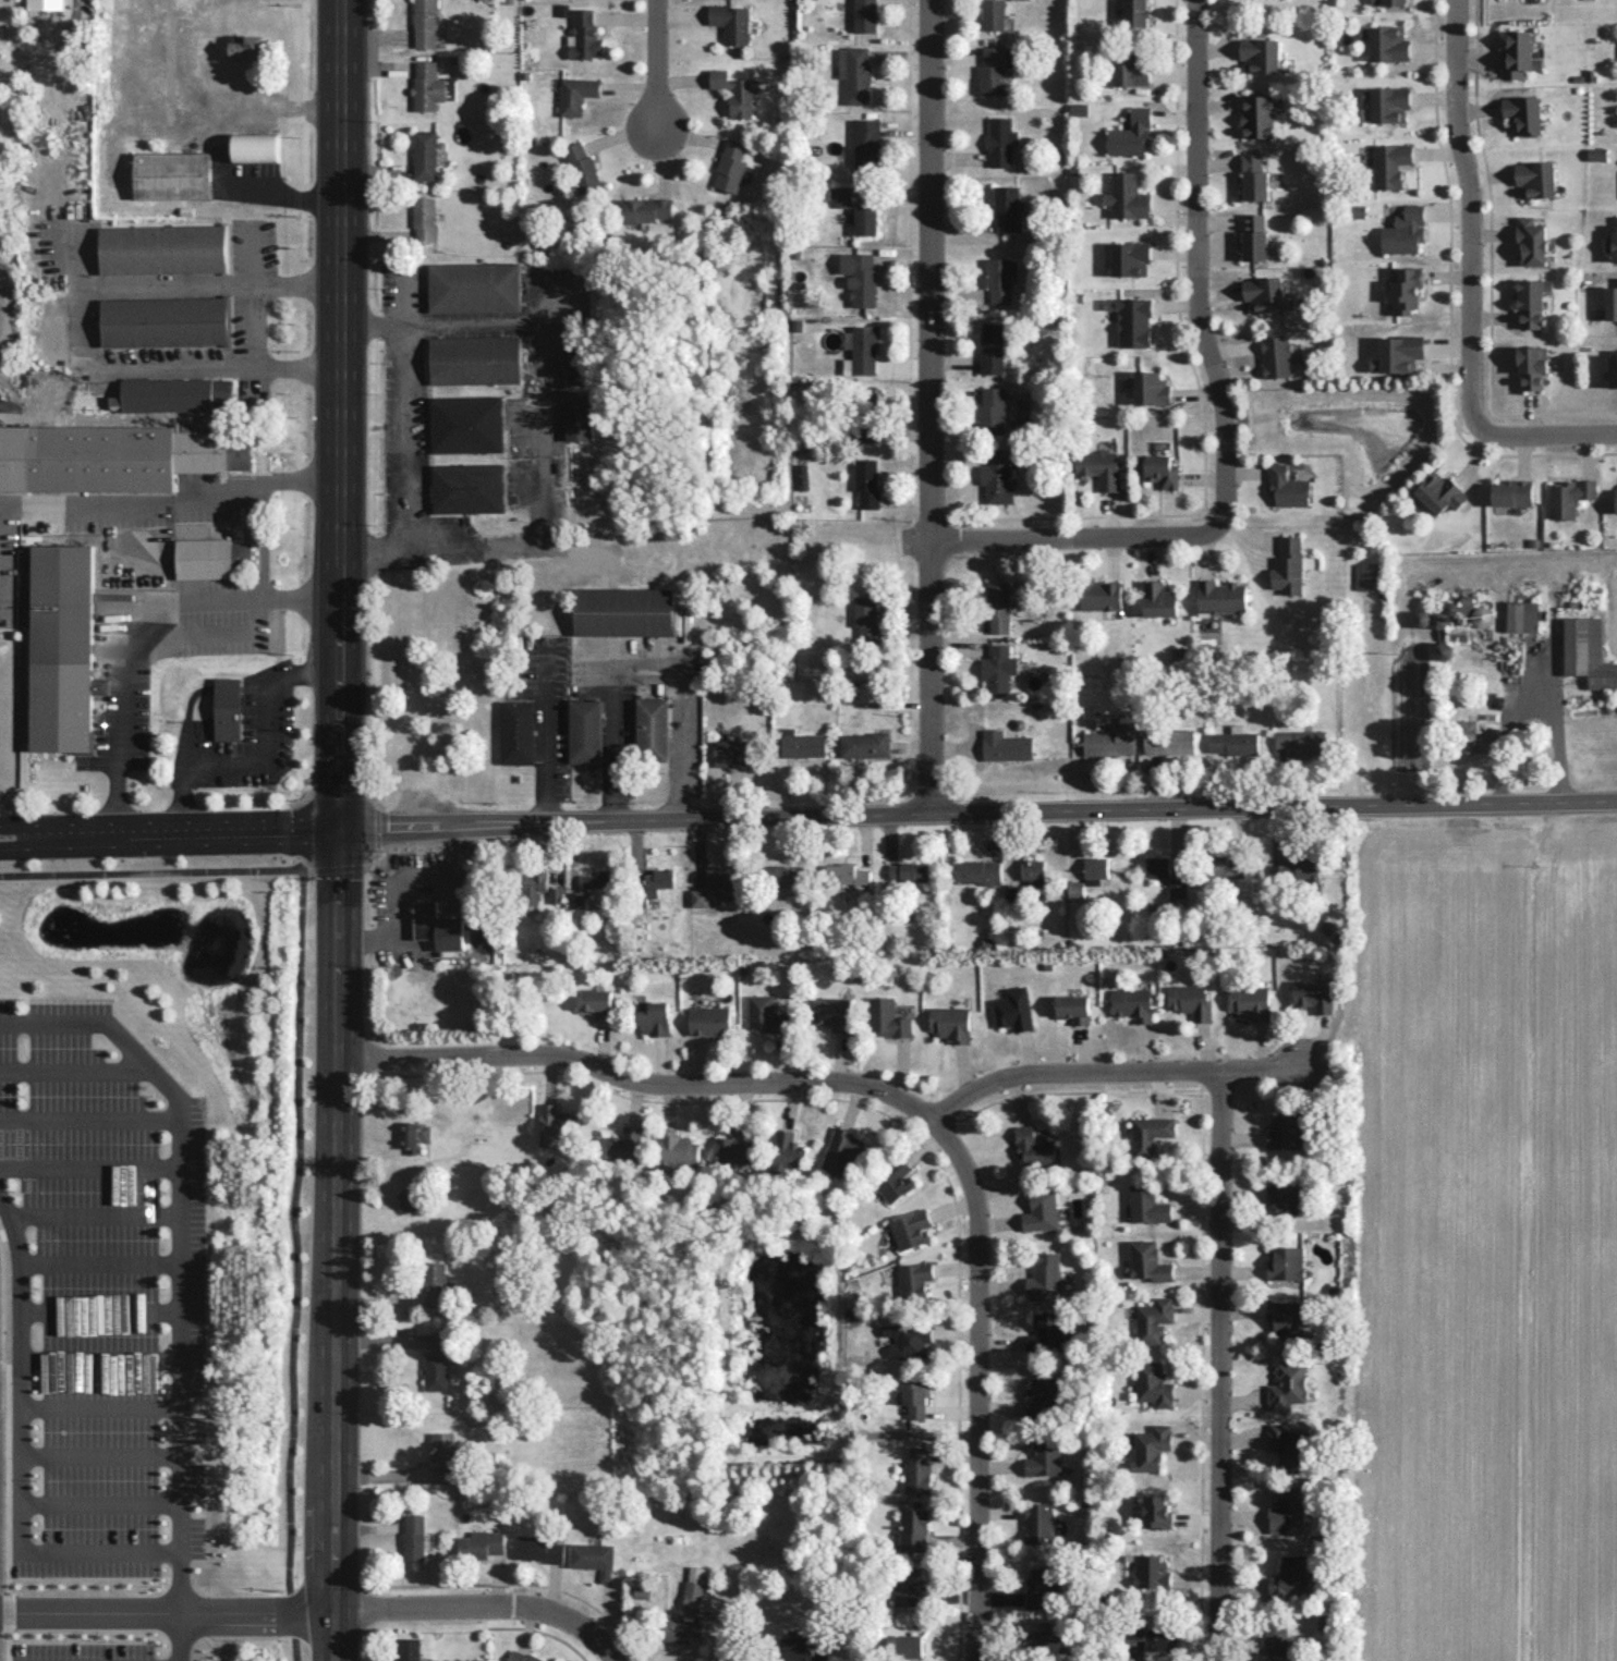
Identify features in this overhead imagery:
building: (1388, 2)
building: (45, 4)
building: (1134, 13)
building: (993, 14)
building: (864, 15)
building: (731, 22)
building: (425, 23)
building: (584, 36)
building: (1388, 44)
building: (248, 48)
road: (1216, 49)
building: (1259, 54)
building: (1516, 54)
road: (955, 58)
building: (1130, 65)
road: (656, 66)
building: (992, 69)
building: (858, 75)
road: (1171, 76)
building: (426, 86)
building: (734, 91)
building: (575, 94)
road: (1218, 103)
building: (1388, 103)
building: (1078, 109)
building: (1523, 113)
road: (1171, 117)
building: (1256, 117)
building: (1130, 133)
building: (866, 142)
building: (1000, 142)
road: (216, 147)
building: (256, 147)
building: (1596, 154)
building: (424, 155)
road: (959, 159)
road: (1217, 160)
building: (1389, 163)
building: (731, 166)
building: (583, 170)
building: (172, 175)
building: (1254, 176)
building: (1535, 179)
building: (840, 196)
building: (1126, 196)
road: (1172, 204)
building: (1007, 208)
building: (645, 209)
building: (424, 218)
road: (1470, 218)
building: (1616, 218)
building: (865, 220)
road: (962, 221)
road: (1219, 223)
building: (1403, 231)
building: (1254, 240)
building: (1530, 241)
building: (1614, 243)
building: (163, 249)
road: (1172, 253)
road: (253, 258)
building: (1129, 258)
road: (1175, 258)
road: (81, 261)
road: (1195, 264)
building: (860, 277)
building: (998, 280)
building: (474, 288)
building: (1406, 289)
road: (170, 290)
road: (1218, 291)
road: (1144, 292)
road: (959, 293)
building: (1263, 294)
building: (1078, 298)
building: (1530, 303)
building: (1612, 303)
road: (1172, 304)
road: (1156, 318)
building: (165, 321)
building: (1132, 321)
road: (465, 323)
road: (254, 330)
building: (864, 347)
building: (992, 347)
road: (1233, 350)
building: (1398, 353)
building: (1275, 356)
building: (473, 359)
road: (953, 363)
building: (1530, 365)
road: (167, 370)
building: (1613, 370)
road: (296, 371)
building: (1151, 389)
road: (1194, 393)
building: (173, 394)
road: (927, 407)
building: (990, 411)
road: (403, 413)
road: (339, 416)
building: (865, 416)
building: (577, 422)
building: (466, 425)
road: (1549, 433)
building: (112, 456)
road: (957, 456)
building: (1097, 467)
building: (1160, 471)
road: (1245, 474)
building: (802, 476)
building: (995, 476)
road: (1201, 480)
building: (866, 481)
building: (1287, 486)
building: (467, 488)
building: (1439, 492)
building: (1511, 492)
building: (1568, 497)
building: (1615, 499)
road: (171, 506)
road: (1109, 512)
road: (1077, 515)
road: (1251, 530)
road: (1073, 534)
road: (260, 539)
road: (502, 541)
road: (1204, 555)
road: (0, 557)
road: (1153, 557)
building: (209, 558)
road: (1109, 558)
building: (1288, 566)
building: (1367, 576)
building: (1102, 596)
building: (1220, 597)
building: (1158, 599)
building: (998, 607)
building: (623, 611)
building: (1480, 615)
building: (1522, 616)
building: (866, 620)
road: (135, 626)
building: (62, 648)
building: (1586, 652)
road: (653, 668)
building: (998, 668)
building: (228, 708)
building: (652, 730)
building: (584, 731)
building: (516, 732)
road: (547, 738)
building: (1476, 738)
building: (1110, 741)
building: (1168, 741)
building: (1233, 742)
building: (1301, 742)
building: (802, 744)
building: (864, 745)
building: (1005, 746)
building: (731, 752)
road: (264, 755)
road: (368, 795)
road: (976, 815)
road: (47, 829)
traffic signals: (338, 833)
road: (216, 834)
road: (47, 846)
building: (1157, 866)
building: (1225, 868)
building: (1294, 870)
building: (977, 871)
building: (1033, 871)
building: (908, 872)
building: (780, 875)
building: (848, 875)
building: (720, 876)
building: (1089, 876)
building: (598, 879)
building: (658, 881)
building: (534, 886)
road: (405, 888)
building: (1176, 888)
building: (555, 895)
building: (700, 897)
building: (575, 900)
building: (437, 926)
building: (1312, 994)
building: (1190, 1001)
building: (1249, 1001)
building: (596, 1002)
building: (1133, 1004)
building: (1013, 1009)
building: (1073, 1009)
building: (831, 1013)
building: (764, 1014)
building: (652, 1017)
building: (887, 1017)
building: (709, 1021)
building: (950, 1023)
road: (74, 1068)
road: (829, 1080)
road: (296, 1115)
road: (92, 1119)
building: (555, 1123)
building: (1286, 1131)
building: (1150, 1133)
building: (414, 1136)
building: (622, 1144)
building: (735, 1147)
building: (1034, 1147)
building: (678, 1148)
building: (841, 1150)
building: (787, 1151)
road: (92, 1168)
building: (893, 1181)
building: (408, 1199)
building: (1284, 1199)
building: (1146, 1205)
building: (1041, 1210)
road: (94, 1212)
building: (911, 1230)
road: (337, 1246)
road: (183, 1249)
road: (102, 1260)
building: (1147, 1261)
building: (1285, 1262)
building: (1044, 1273)
building: (914, 1279)
building: (437, 1285)
road: (102, 1310)
building: (1286, 1318)
building: (1153, 1320)
building: (1044, 1334)
building: (908, 1338)
road: (104, 1357)
building: (440, 1360)
road: (1219, 1367)
building: (1153, 1384)
building: (1287, 1385)
road: (976, 1387)
building: (1044, 1394)
building: (915, 1400)
road: (102, 1406)
road: (5, 1445)
building: (1151, 1448)
building: (1286, 1448)
building: (443, 1453)
road: (101, 1454)
road: (23, 1456)
building: (1044, 1457)
building: (916, 1471)
road: (101, 1502)
building: (1156, 1511)
building: (1286, 1511)
building: (1038, 1523)
building: (913, 1528)
building: (413, 1537)
building: (481, 1544)
building: (539, 1549)
building: (593, 1559)
building: (1151, 1571)
building: (1291, 1574)
building: (1043, 1584)
building: (909, 1587)
building: (693, 1588)
road: (484, 1605)
road: (168, 1613)
building: (681, 1629)
road: (180, 1637)
building: (1045, 1637)
building: (1276, 1638)
building: (900, 1646)
building: (805, 1647)
building: (408, 1649)
building: (520, 1657)

